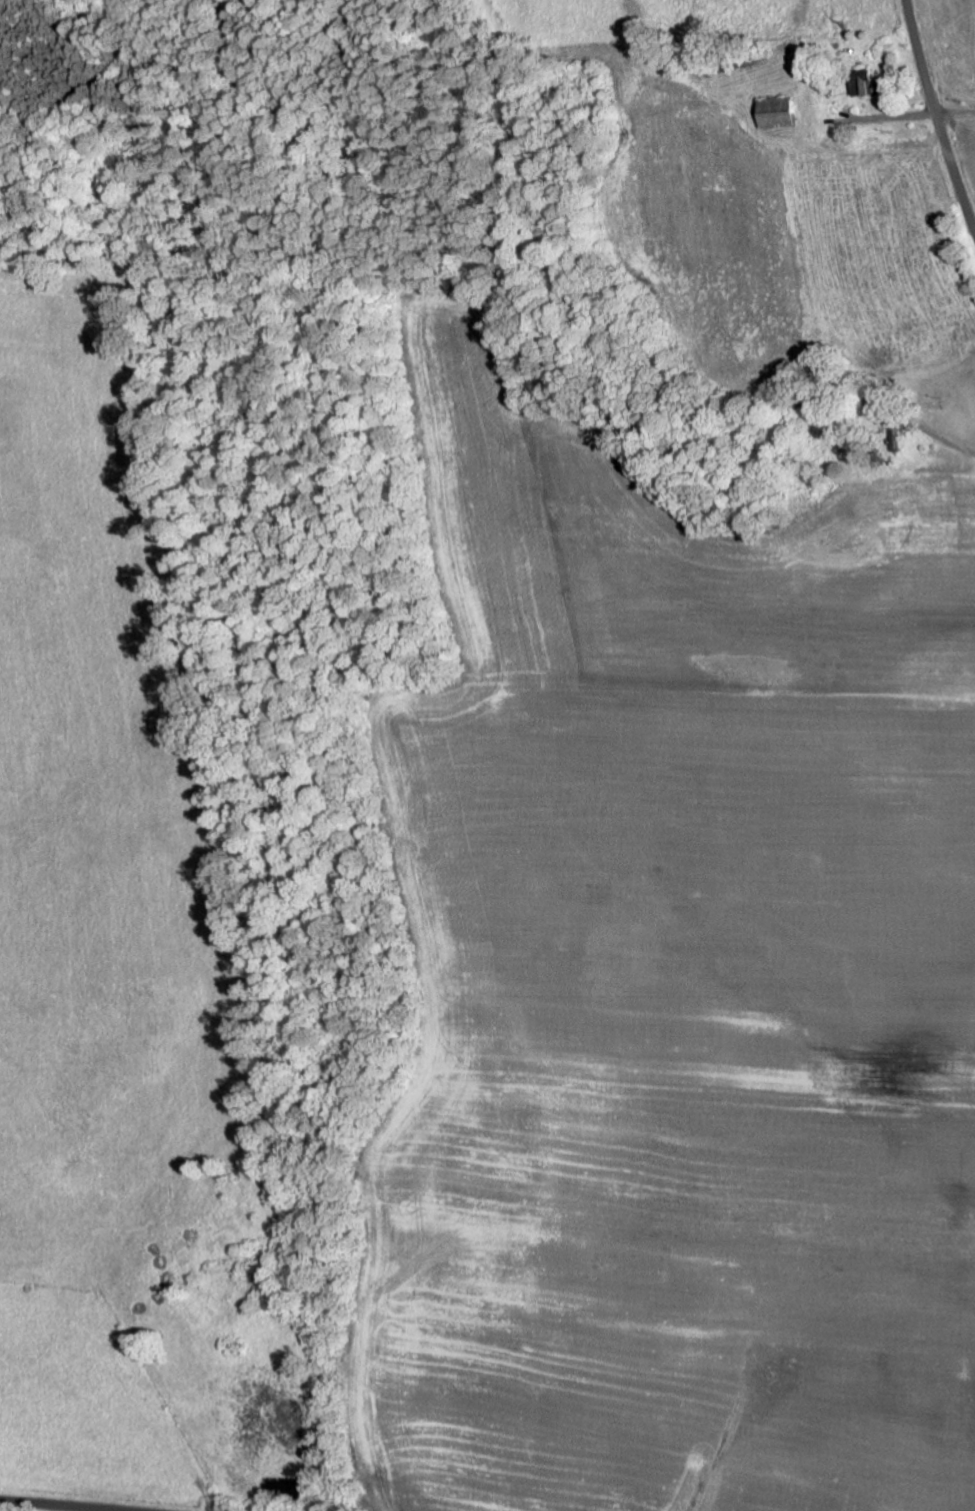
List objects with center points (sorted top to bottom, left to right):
building: (866, 83)
road: (953, 99)
building: (779, 113)
road: (936, 115)
road: (818, 403)
road: (56, 1506)

